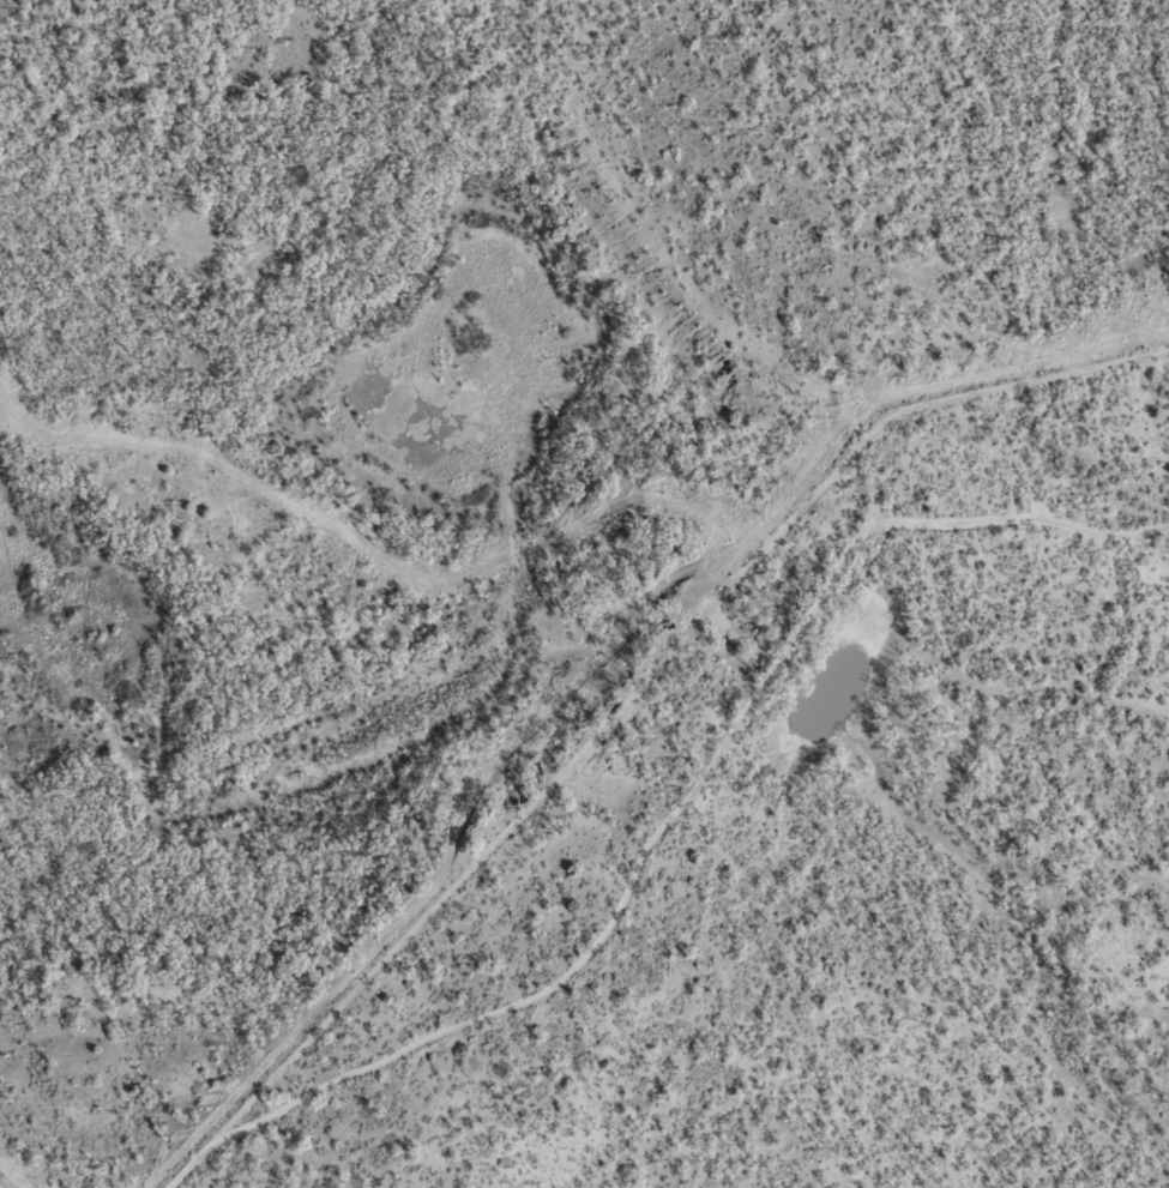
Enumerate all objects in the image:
road: (653, 804)

